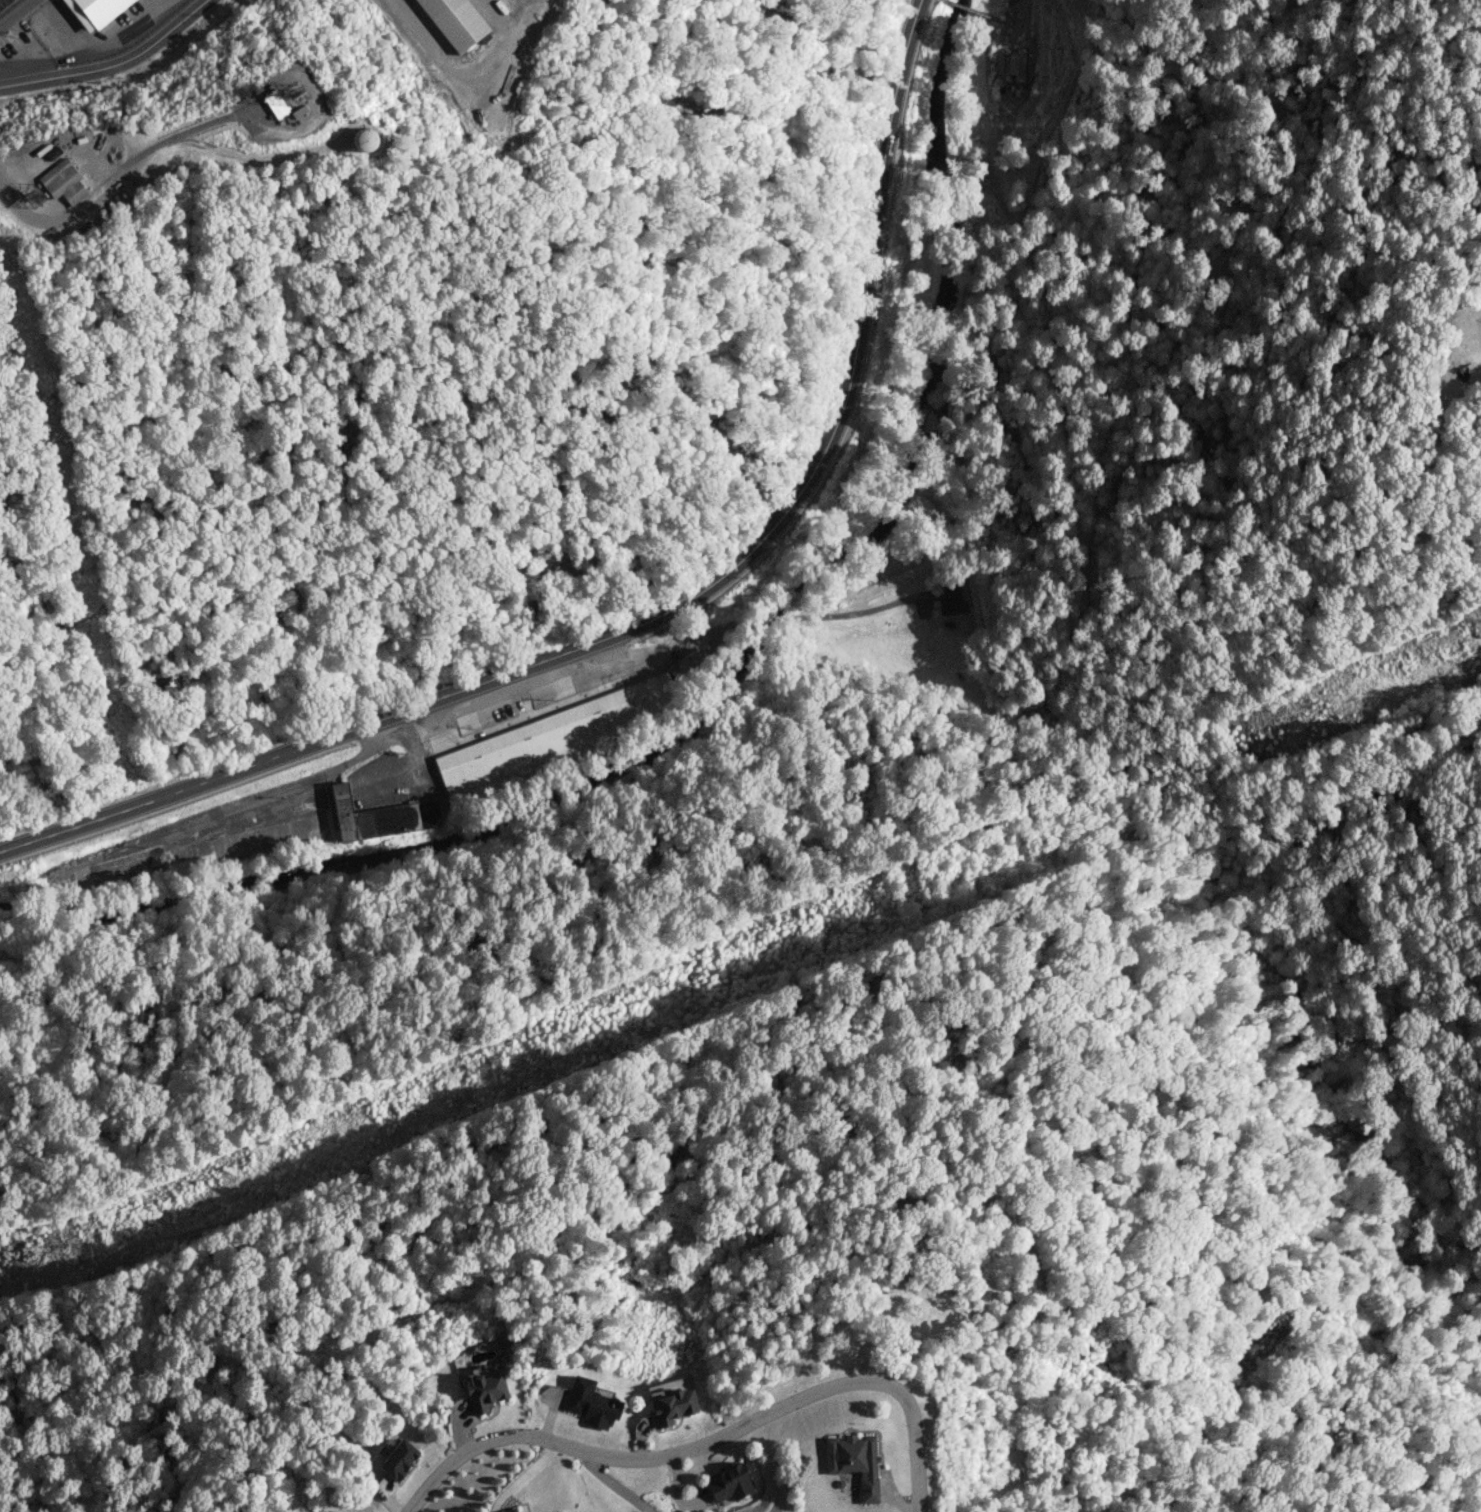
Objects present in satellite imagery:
building: (98, 10)
building: (455, 21)
building: (184, 22)
airport apron: (447, 25)
road: (113, 65)
building: (1016, 68)
building: (275, 103)
airport: (234, 105)
water tower: (357, 141)
road: (117, 172)
building: (62, 181)
building: (950, 599)
road: (659, 615)
building: (557, 735)
river: (871, 737)
building: (379, 816)
building: (483, 1390)
building: (591, 1403)
building: (670, 1404)
road: (709, 1451)
building: (398, 1459)
building: (854, 1461)
building: (728, 1484)
building: (508, 1509)

